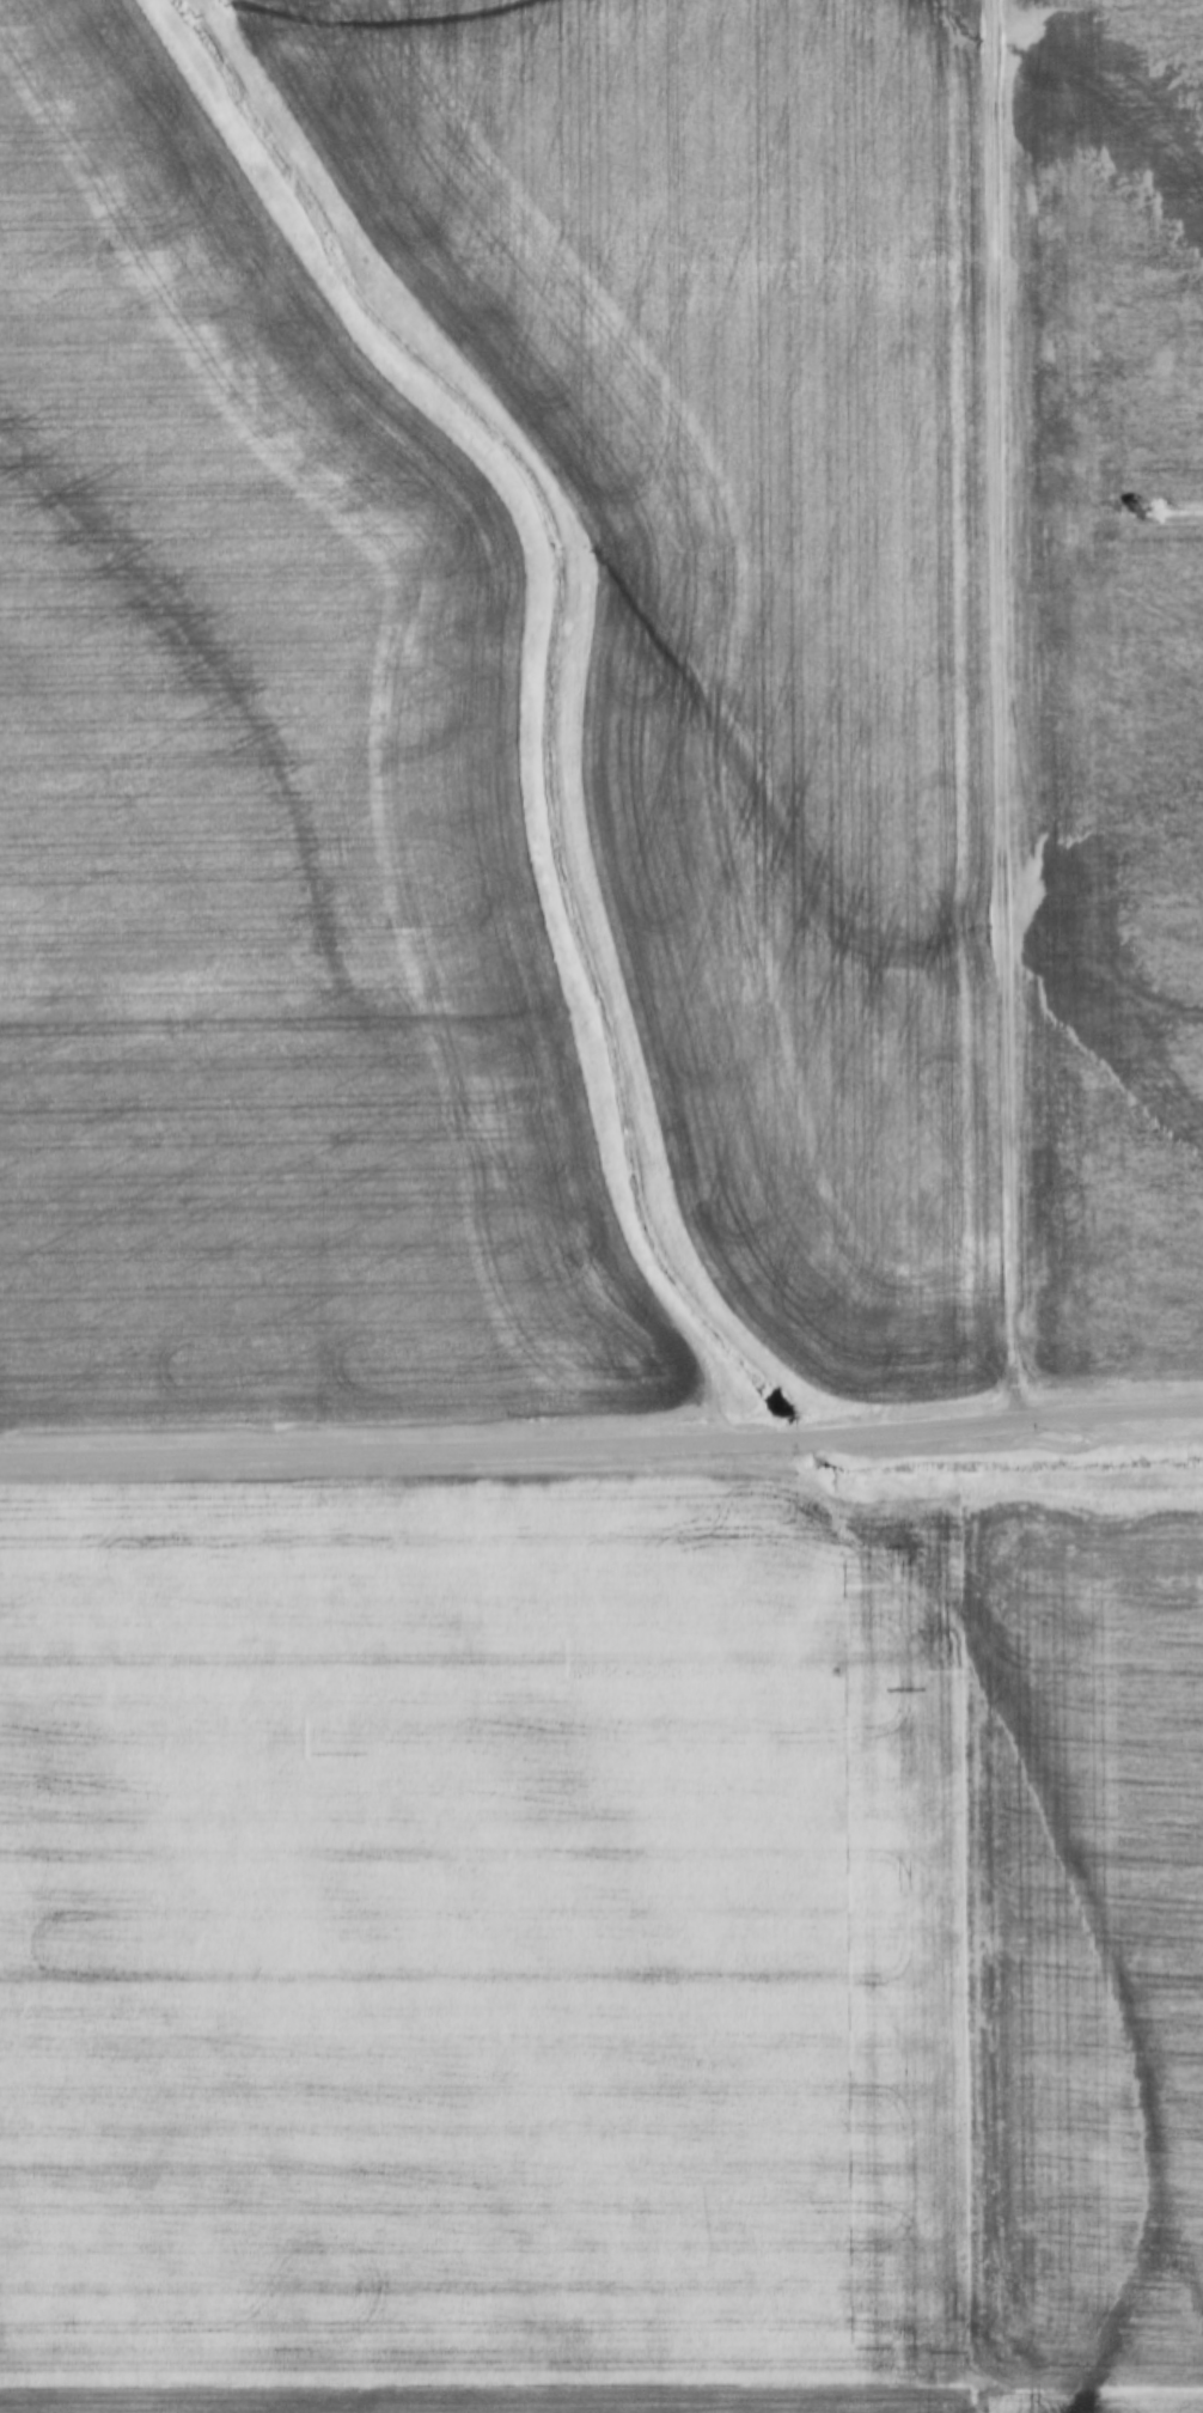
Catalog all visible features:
crop: (746, 580)
crop: (1109, 677)
road: (1002, 713)
crop: (261, 831)
road: (601, 1448)
crop: (475, 1936)
crop: (1077, 1940)
crop: (477, 2401)
crop: (1081, 2401)

